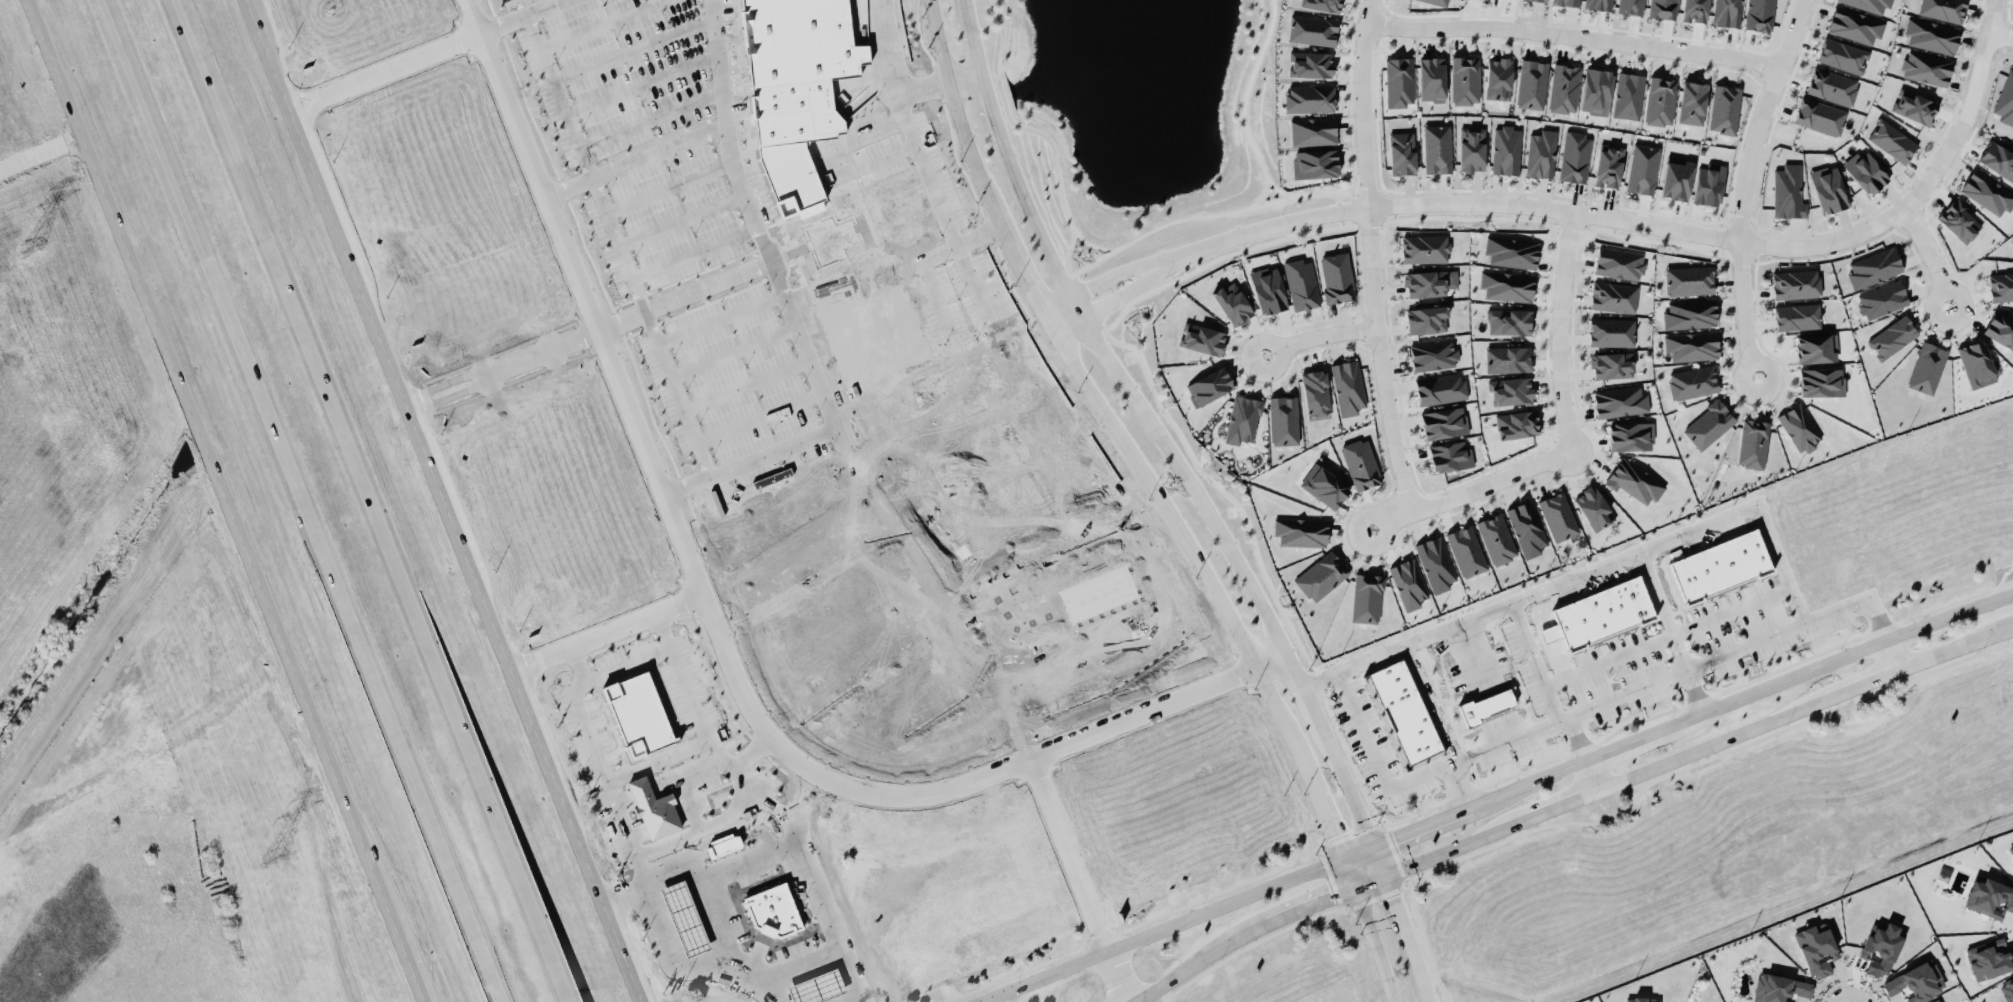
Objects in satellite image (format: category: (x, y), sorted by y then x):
building: (1540, 0)
building: (1438, 2)
building: (1567, 2)
building: (1322, 4)
building: (1598, 4)
building: (1869, 4)
road: (545, 6)
building: (1630, 6)
building: (1662, 8)
building: (1943, 9)
building: (1695, 10)
building: (1727, 12)
building: (1759, 15)
road: (511, 20)
road: (602, 24)
building: (1855, 25)
building: (1312, 29)
road: (2000, 33)
road: (1572, 34)
building: (1931, 35)
road: (634, 49)
building: (1842, 55)
building: (1310, 64)
building: (797, 66)
building: (1926, 68)
road: (386, 75)
road: (962, 78)
building: (1499, 78)
building: (1431, 79)
building: (1465, 80)
building: (1399, 81)
building: (1532, 84)
road: (642, 86)
building: (1832, 86)
building: (1564, 88)
road: (922, 90)
building: (1596, 91)
building: (1628, 95)
building: (1309, 98)
building: (1660, 100)
building: (2006, 100)
building: (1692, 103)
building: (1914, 106)
building: (1724, 109)
building: (1820, 116)
road: (649, 119)
building: (1312, 131)
building: (1892, 140)
road: (916, 148)
building: (1437, 148)
building: (1471, 149)
road: (1003, 150)
building: (1506, 150)
road: (656, 152)
building: (1401, 153)
building: (1541, 154)
road: (41, 155)
road: (976, 156)
building: (1575, 157)
building: (1997, 160)
building: (1314, 163)
building: (1608, 166)
building: (1642, 168)
building: (1865, 172)
building: (1676, 178)
building: (1708, 184)
road: (569, 187)
road: (669, 187)
road: (1744, 187)
building: (1828, 188)
building: (1788, 192)
building: (1987, 192)
road: (682, 220)
building: (1958, 220)
road: (1639, 222)
road: (768, 244)
power tower: (30, 247)
building: (1424, 248)
building: (1511, 251)
road: (1929, 253)
road: (1370, 257)
road: (671, 263)
building: (1618, 263)
building: (1873, 267)
road: (759, 268)
building: (1336, 277)
building: (1688, 280)
road: (1092, 281)
building: (1425, 283)
building: (1795, 283)
building: (1301, 284)
building: (1506, 285)
building: (2000, 286)
building: (1268, 290)
building: (1613, 297)
building: (1882, 299)
building: (1232, 302)
road: (1104, 305)
building: (1690, 313)
building: (1796, 316)
building: (1426, 319)
road: (721, 320)
road: (1048, 320)
building: (1508, 321)
road: (1559, 327)
building: (2000, 328)
building: (1611, 332)
road: (1318, 334)
building: (1892, 337)
building: (1202, 338)
building: (1691, 345)
building: (1816, 348)
road: (733, 350)
building: (1433, 355)
building: (1507, 359)
building: (1976, 364)
building: (1611, 365)
building: (1926, 367)
building: (1692, 382)
building: (1821, 382)
road: (746, 384)
building: (1209, 386)
building: (1347, 387)
building: (1440, 388)
building: (1510, 391)
building: (1315, 392)
road: (676, 394)
building: (1619, 401)
road: (759, 418)
building: (1243, 420)
building: (1283, 420)
building: (1444, 422)
building: (1516, 424)
building: (1708, 424)
building: (1799, 428)
building: (1630, 436)
building: (1752, 443)
building: (1450, 456)
building: (1360, 464)
road: (212, 468)
building: (1634, 481)
building: (1325, 487)
road: (1471, 490)
road: (445, 500)
road: (303, 501)
road: (368, 501)
building: (1593, 508)
building: (1558, 516)
building: (1527, 528)
building: (1300, 531)
building: (1496, 538)
building: (1466, 551)
road: (1629, 553)
road: (1195, 555)
building: (1755, 557)
building: (1739, 562)
building: (1435, 563)
building: (1725, 567)
building: (1320, 576)
building: (1699, 578)
building: (1408, 583)
building: (1684, 585)
building: (1366, 598)
building: (1637, 604)
building: (1620, 609)
road: (1657, 611)
building: (1607, 614)
building: (1596, 620)
road: (719, 629)
road: (2009, 630)
road: (607, 632)
road: (1275, 633)
building: (1563, 634)
road: (1660, 636)
road: (1403, 645)
road: (1469, 649)
road: (1952, 650)
road: (1719, 655)
road: (1845, 655)
road: (1893, 655)
road: (618, 665)
road: (1857, 687)
road: (1687, 692)
building: (1485, 705)
building: (1402, 713)
road: (1439, 724)
road: (1572, 739)
road: (1629, 740)
road: (1494, 745)
road: (1706, 747)
road: (1712, 758)
road: (1376, 760)
road: (648, 762)
road: (1589, 775)
road: (1532, 779)
road: (1554, 807)
building: (655, 810)
road: (809, 810)
road: (1327, 822)
road: (1413, 827)
traffic signals: (1397, 834)
traffic signals: (1334, 836)
road: (1447, 849)
power tower: (271, 857)
road: (1348, 870)
road: (1397, 877)
road: (1368, 879)
road: (1079, 880)
road: (668, 882)
traffic signals: (1391, 894)
road: (705, 895)
traffic signals: (1326, 896)
building: (1989, 897)
road: (1302, 905)
building: (776, 912)
building: (687, 919)
road: (830, 926)
road: (1160, 928)
road: (663, 939)
road: (1427, 942)
road: (1375, 943)
building: (1881, 948)
building: (1815, 949)
building: (1988, 958)
road: (789, 961)
road: (817, 964)
road: (1192, 964)
road: (411, 969)
road: (790, 974)
building: (1916, 981)
road: (826, 987)
building: (820, 988)
building: (1779, 988)
building: (2007, 988)
road: (797, 994)
building: (1645, 999)
road: (832, 1000)
road: (859, 1000)
building: (1935, 1000)

